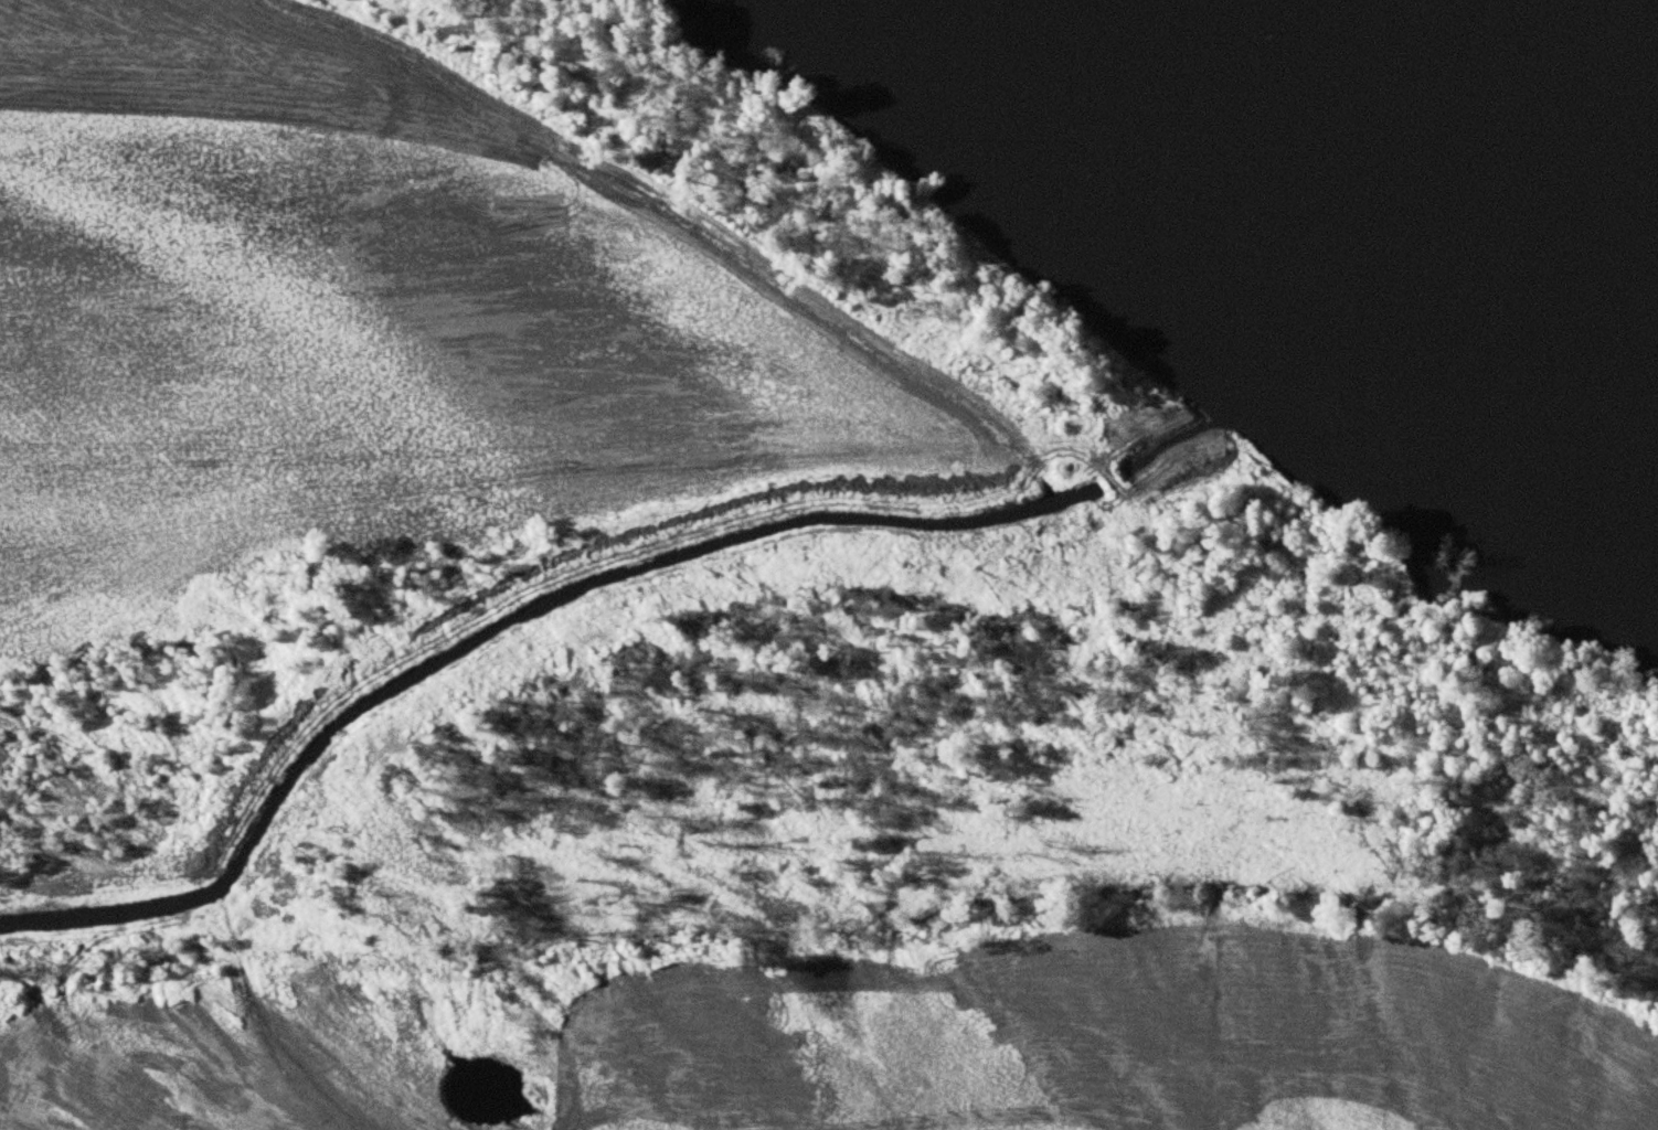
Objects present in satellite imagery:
river: (1448, 140)

